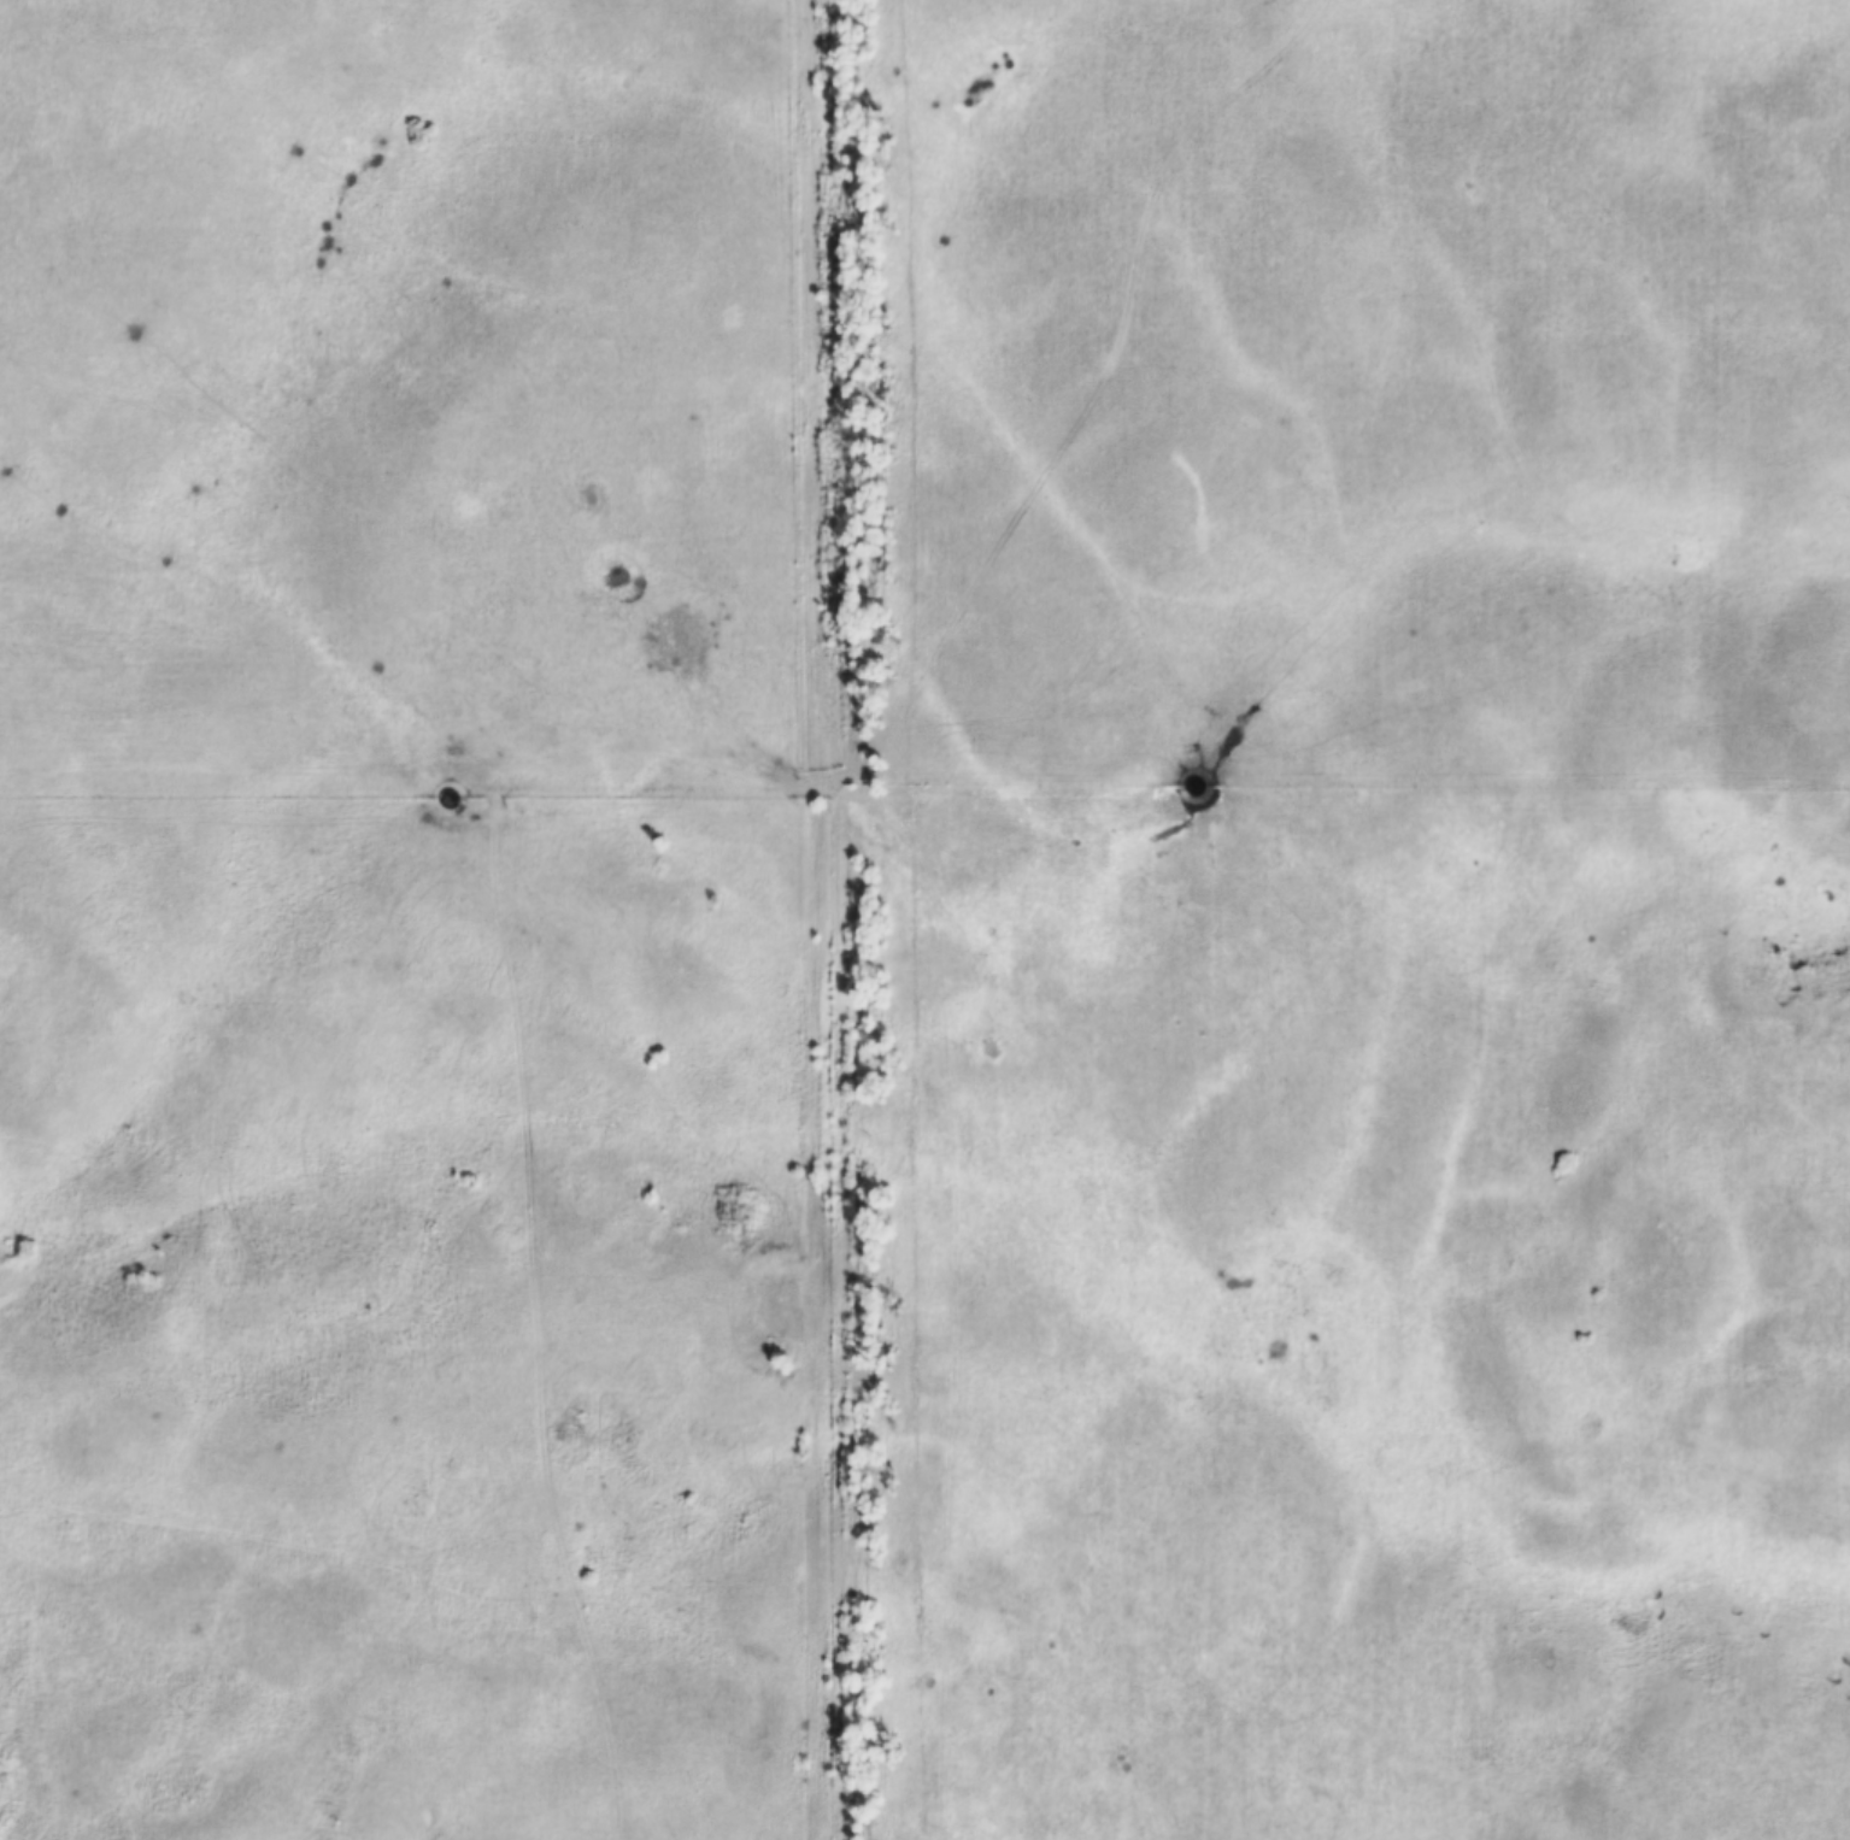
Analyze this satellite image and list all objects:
road: (823, 919)

